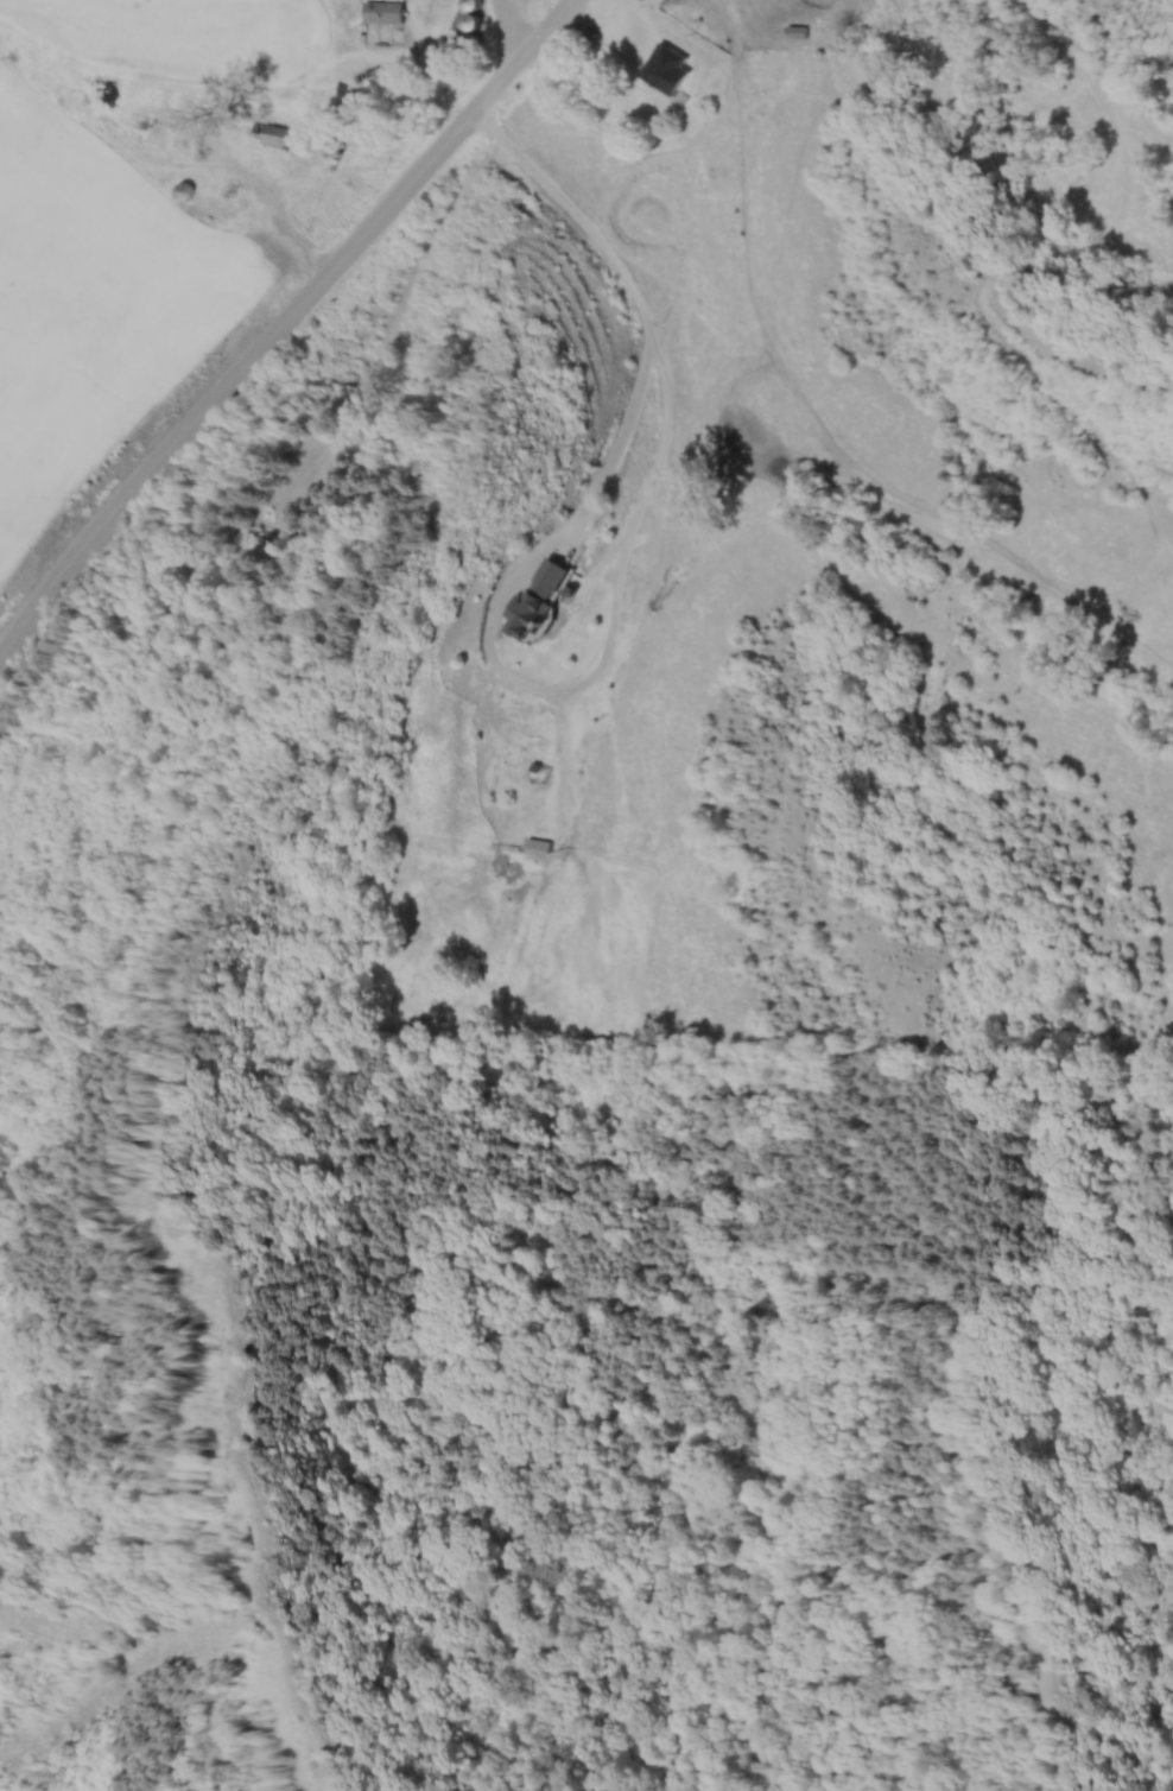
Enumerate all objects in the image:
building: (385, 10)
building: (797, 30)
building: (666, 68)
building: (184, 190)
road: (280, 321)
building: (538, 596)

